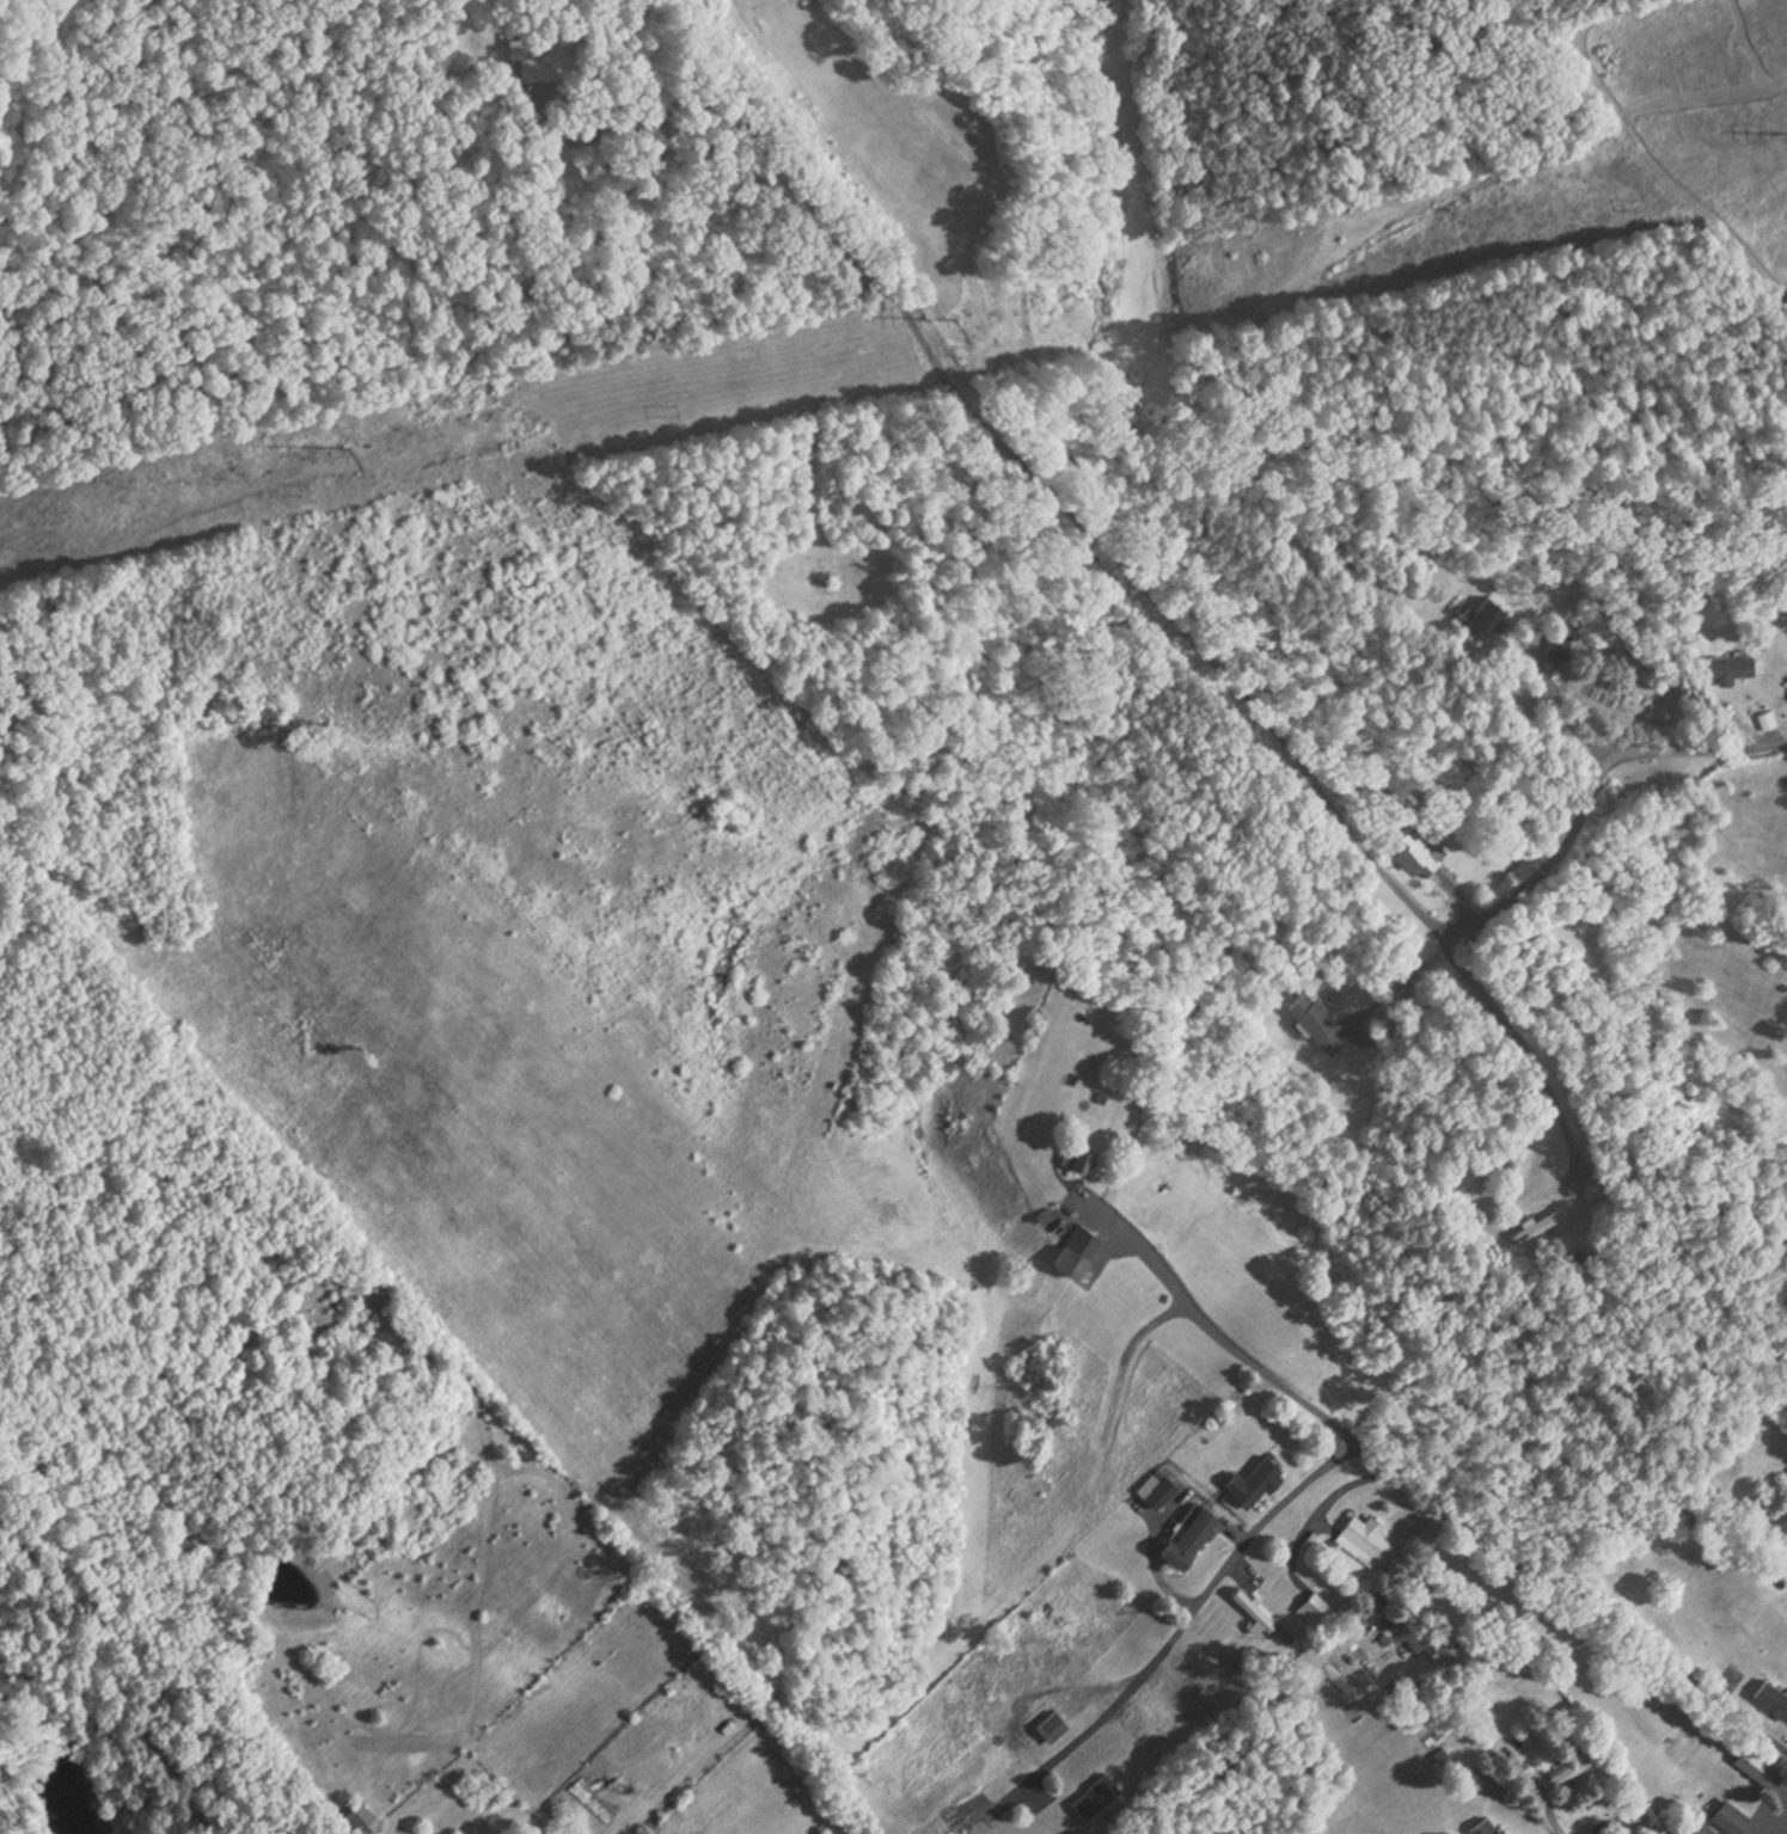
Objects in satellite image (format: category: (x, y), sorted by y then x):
power tower: (950, 325)
road: (969, 412)
power tower: (347, 448)
road: (1557, 706)
road: (1572, 815)
road: (1523, 1048)
road: (1211, 1329)
road: (1352, 1442)
road: (1346, 1485)
road: (1402, 1563)
road: (1552, 1812)

